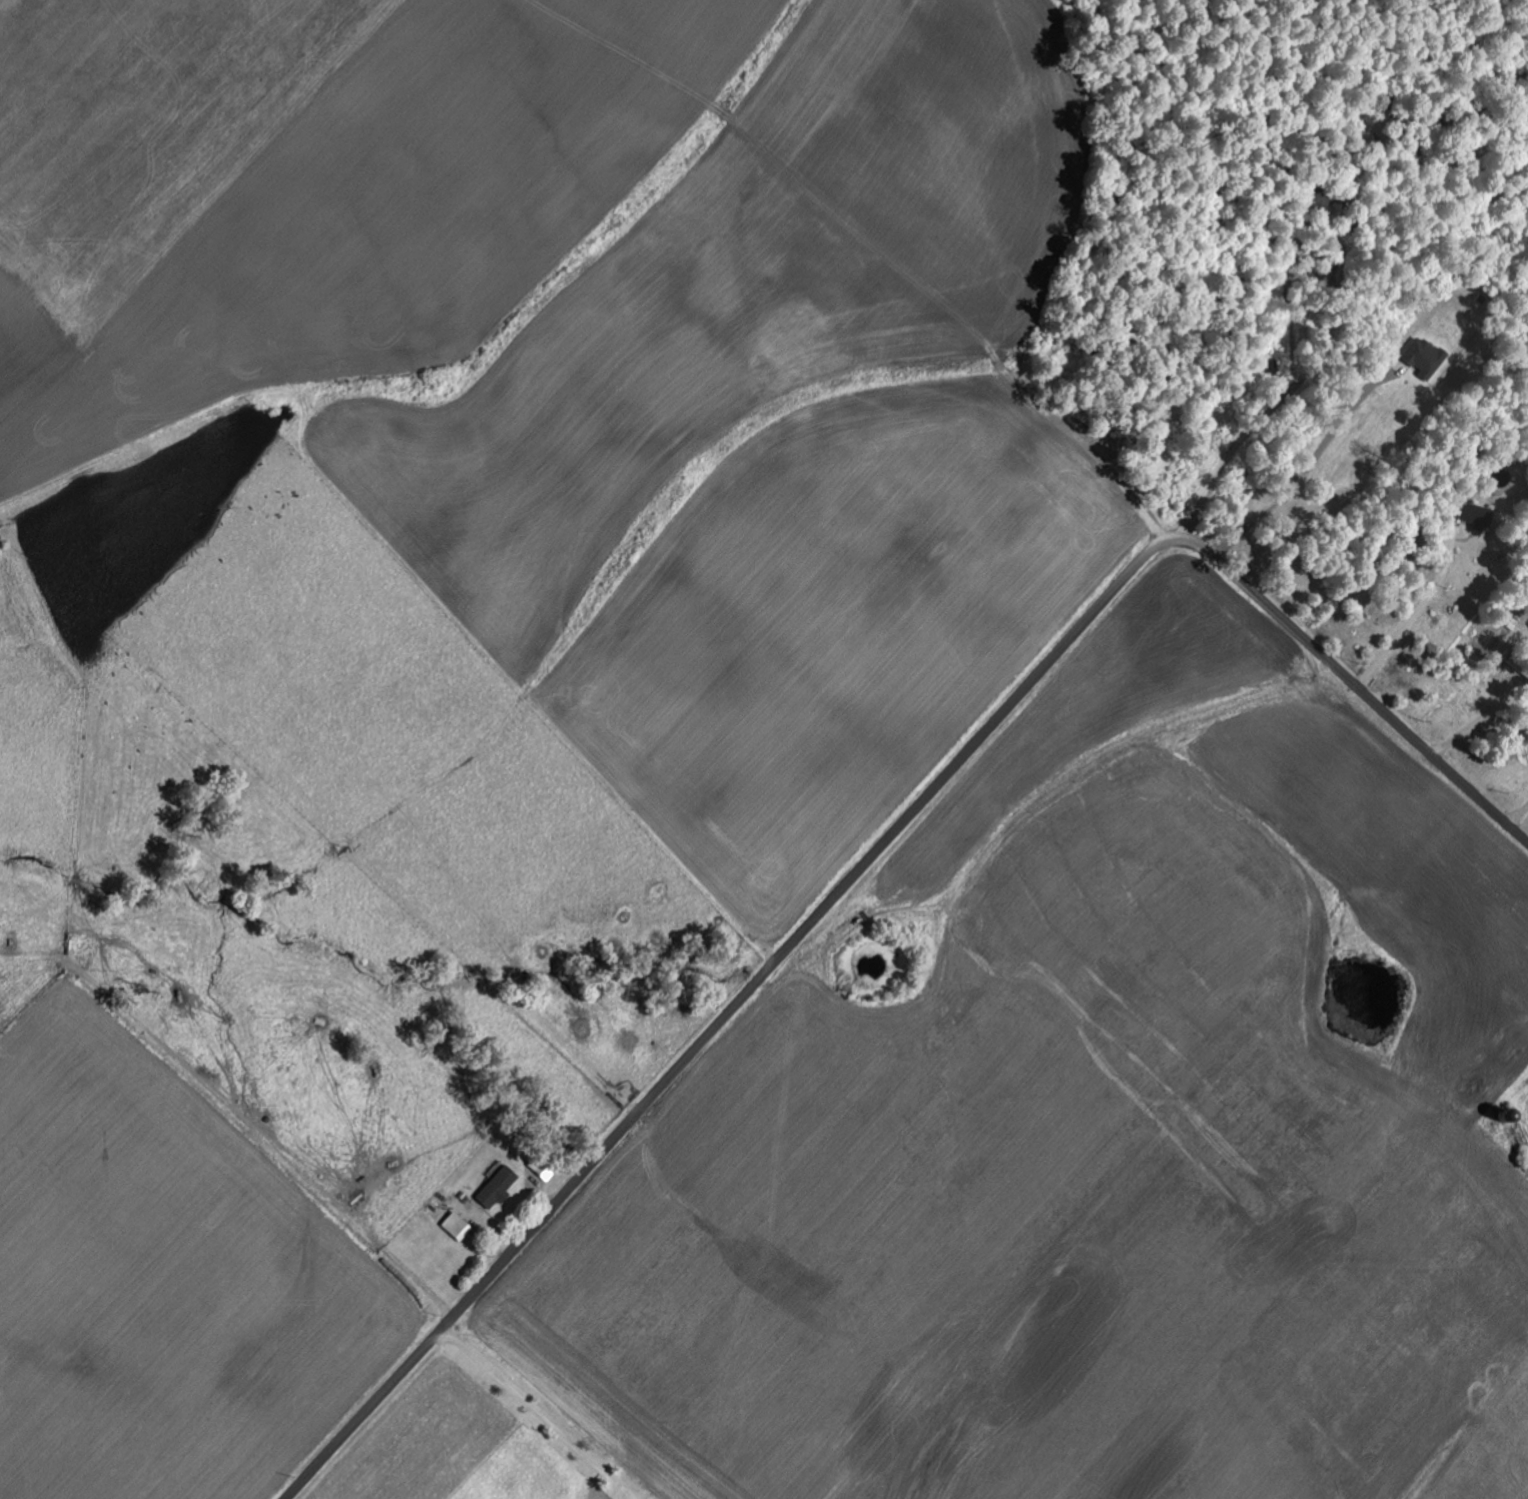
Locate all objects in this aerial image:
building: (1418, 357)
road: (1308, 464)
building: (1473, 516)
road: (1419, 614)
road: (883, 845)
building: (495, 1187)
building: (454, 1226)
road: (538, 1413)

